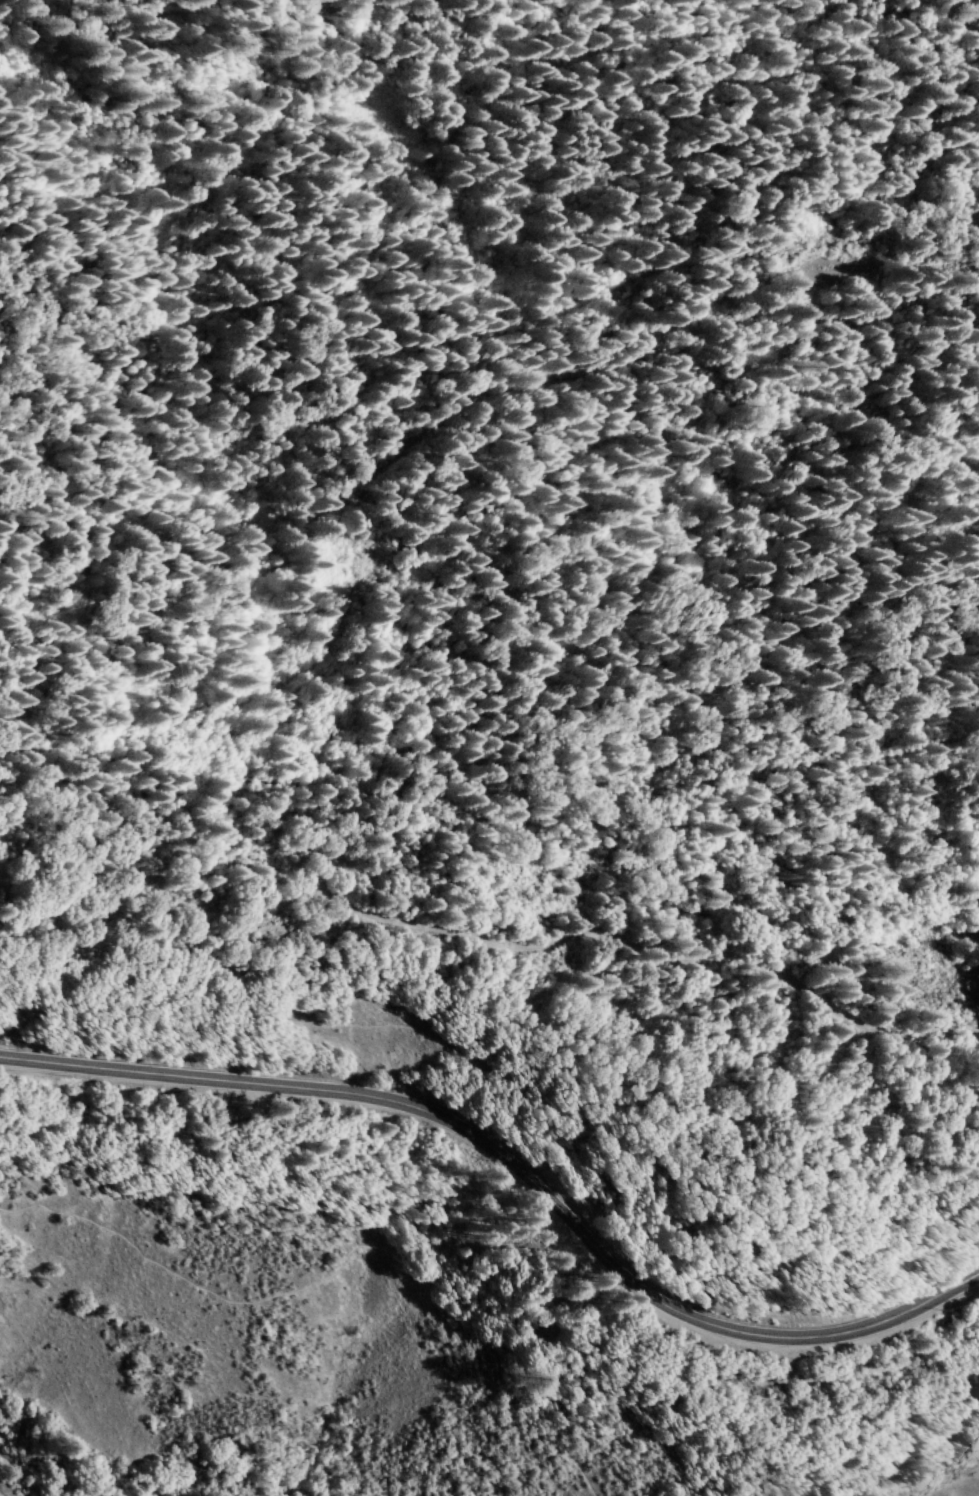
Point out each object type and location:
road: (489, 946)
road: (509, 1076)
road: (517, 1163)
road: (343, 1259)
road: (973, 1492)

